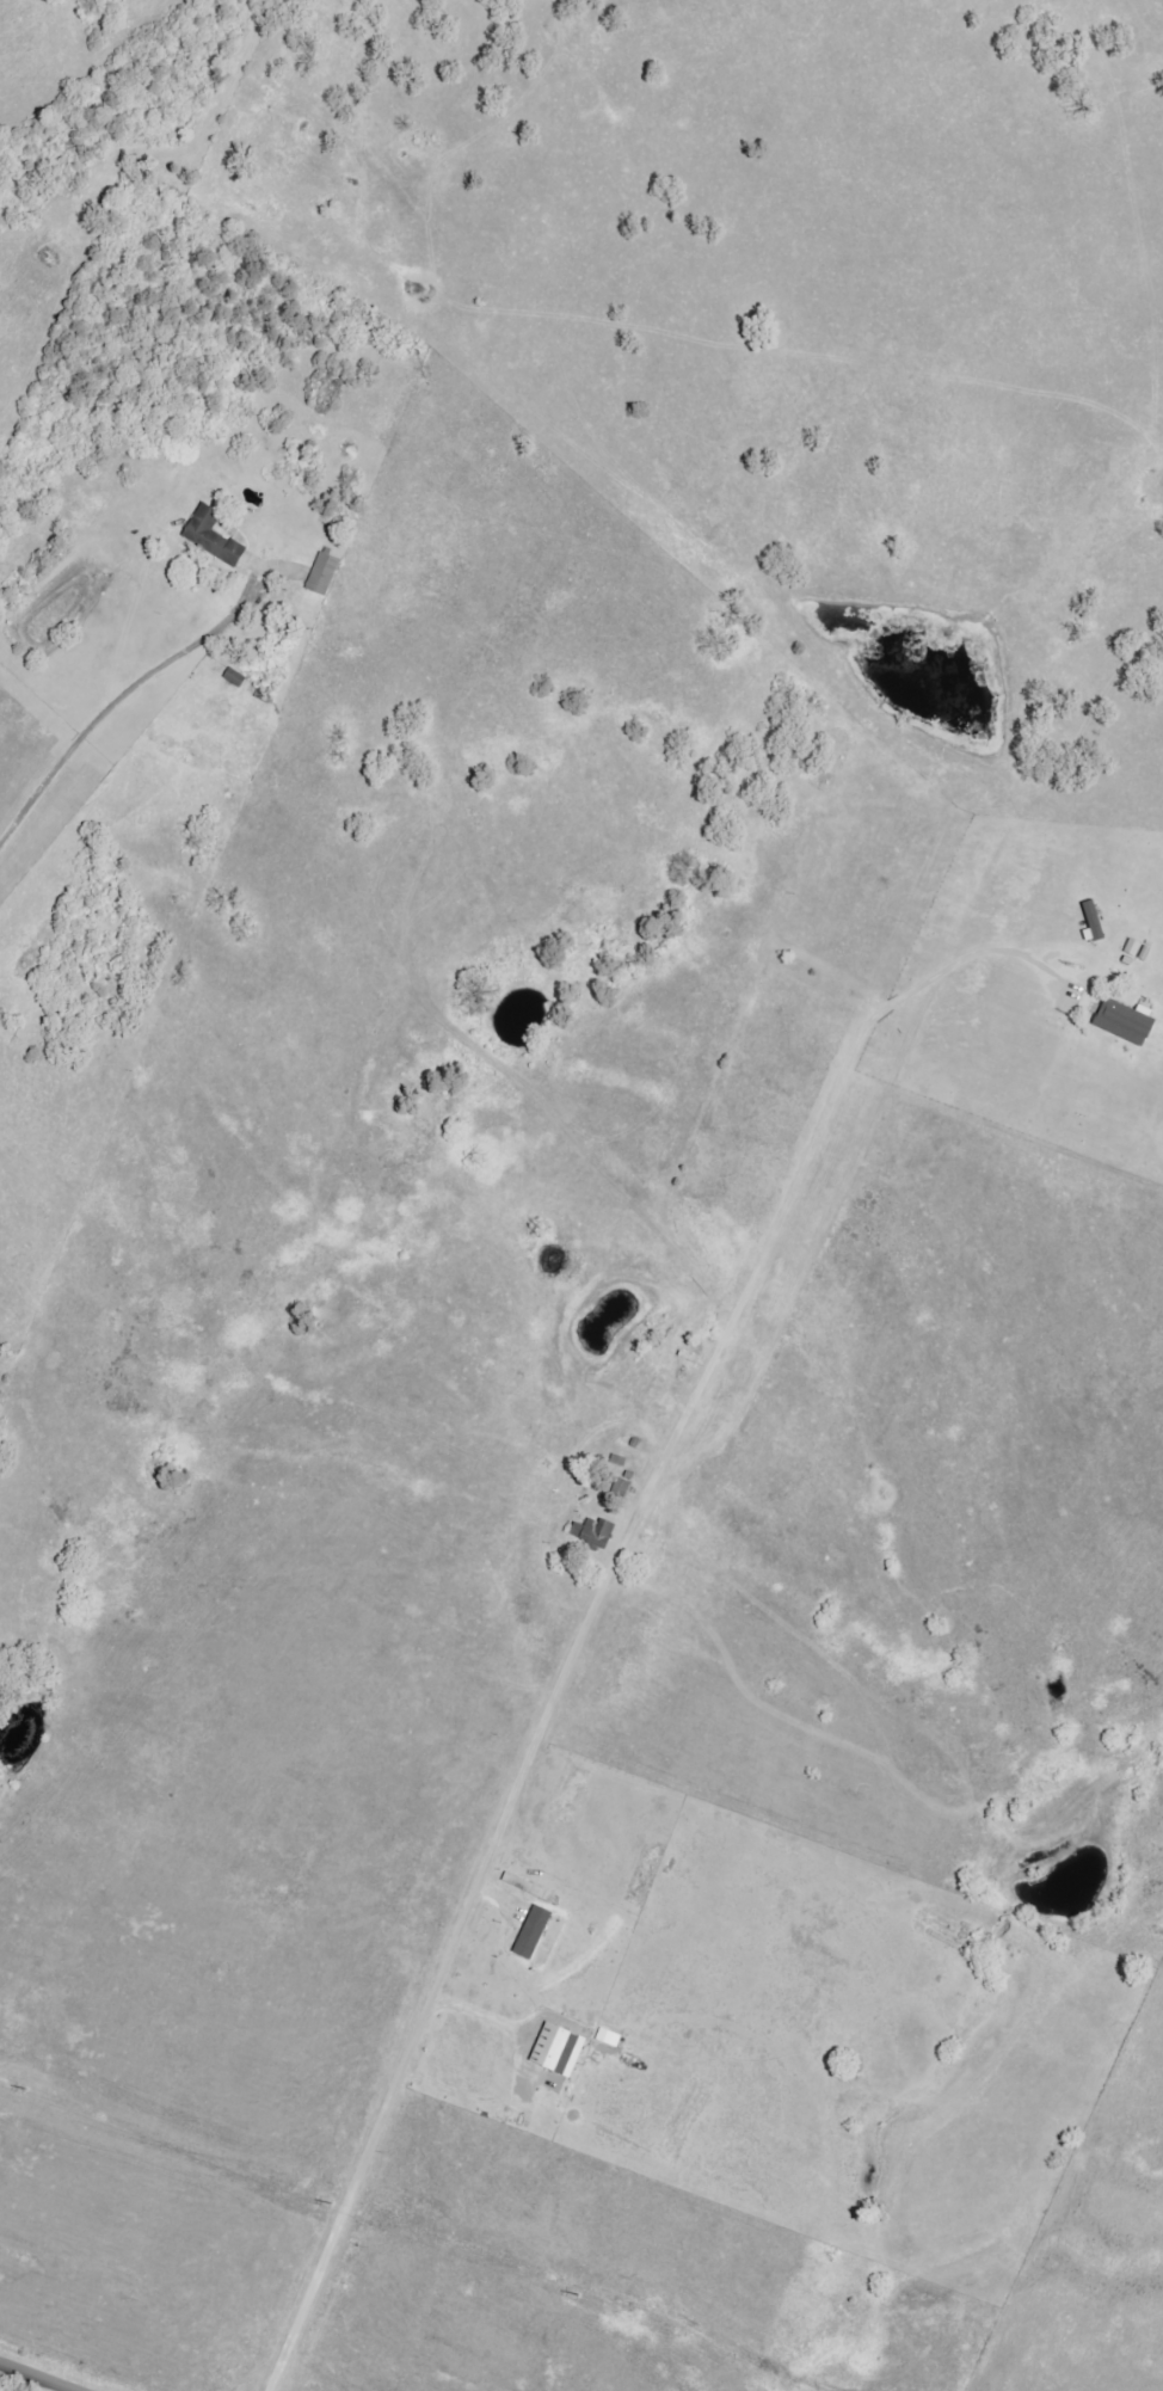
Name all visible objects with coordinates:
building: (214, 537)
building: (325, 572)
road: (121, 702)
building: (1094, 924)
building: (1126, 1022)
building: (596, 1533)
road: (595, 1612)
building: (534, 1932)
building: (609, 2039)
building: (559, 2051)
road: (26, 2379)

